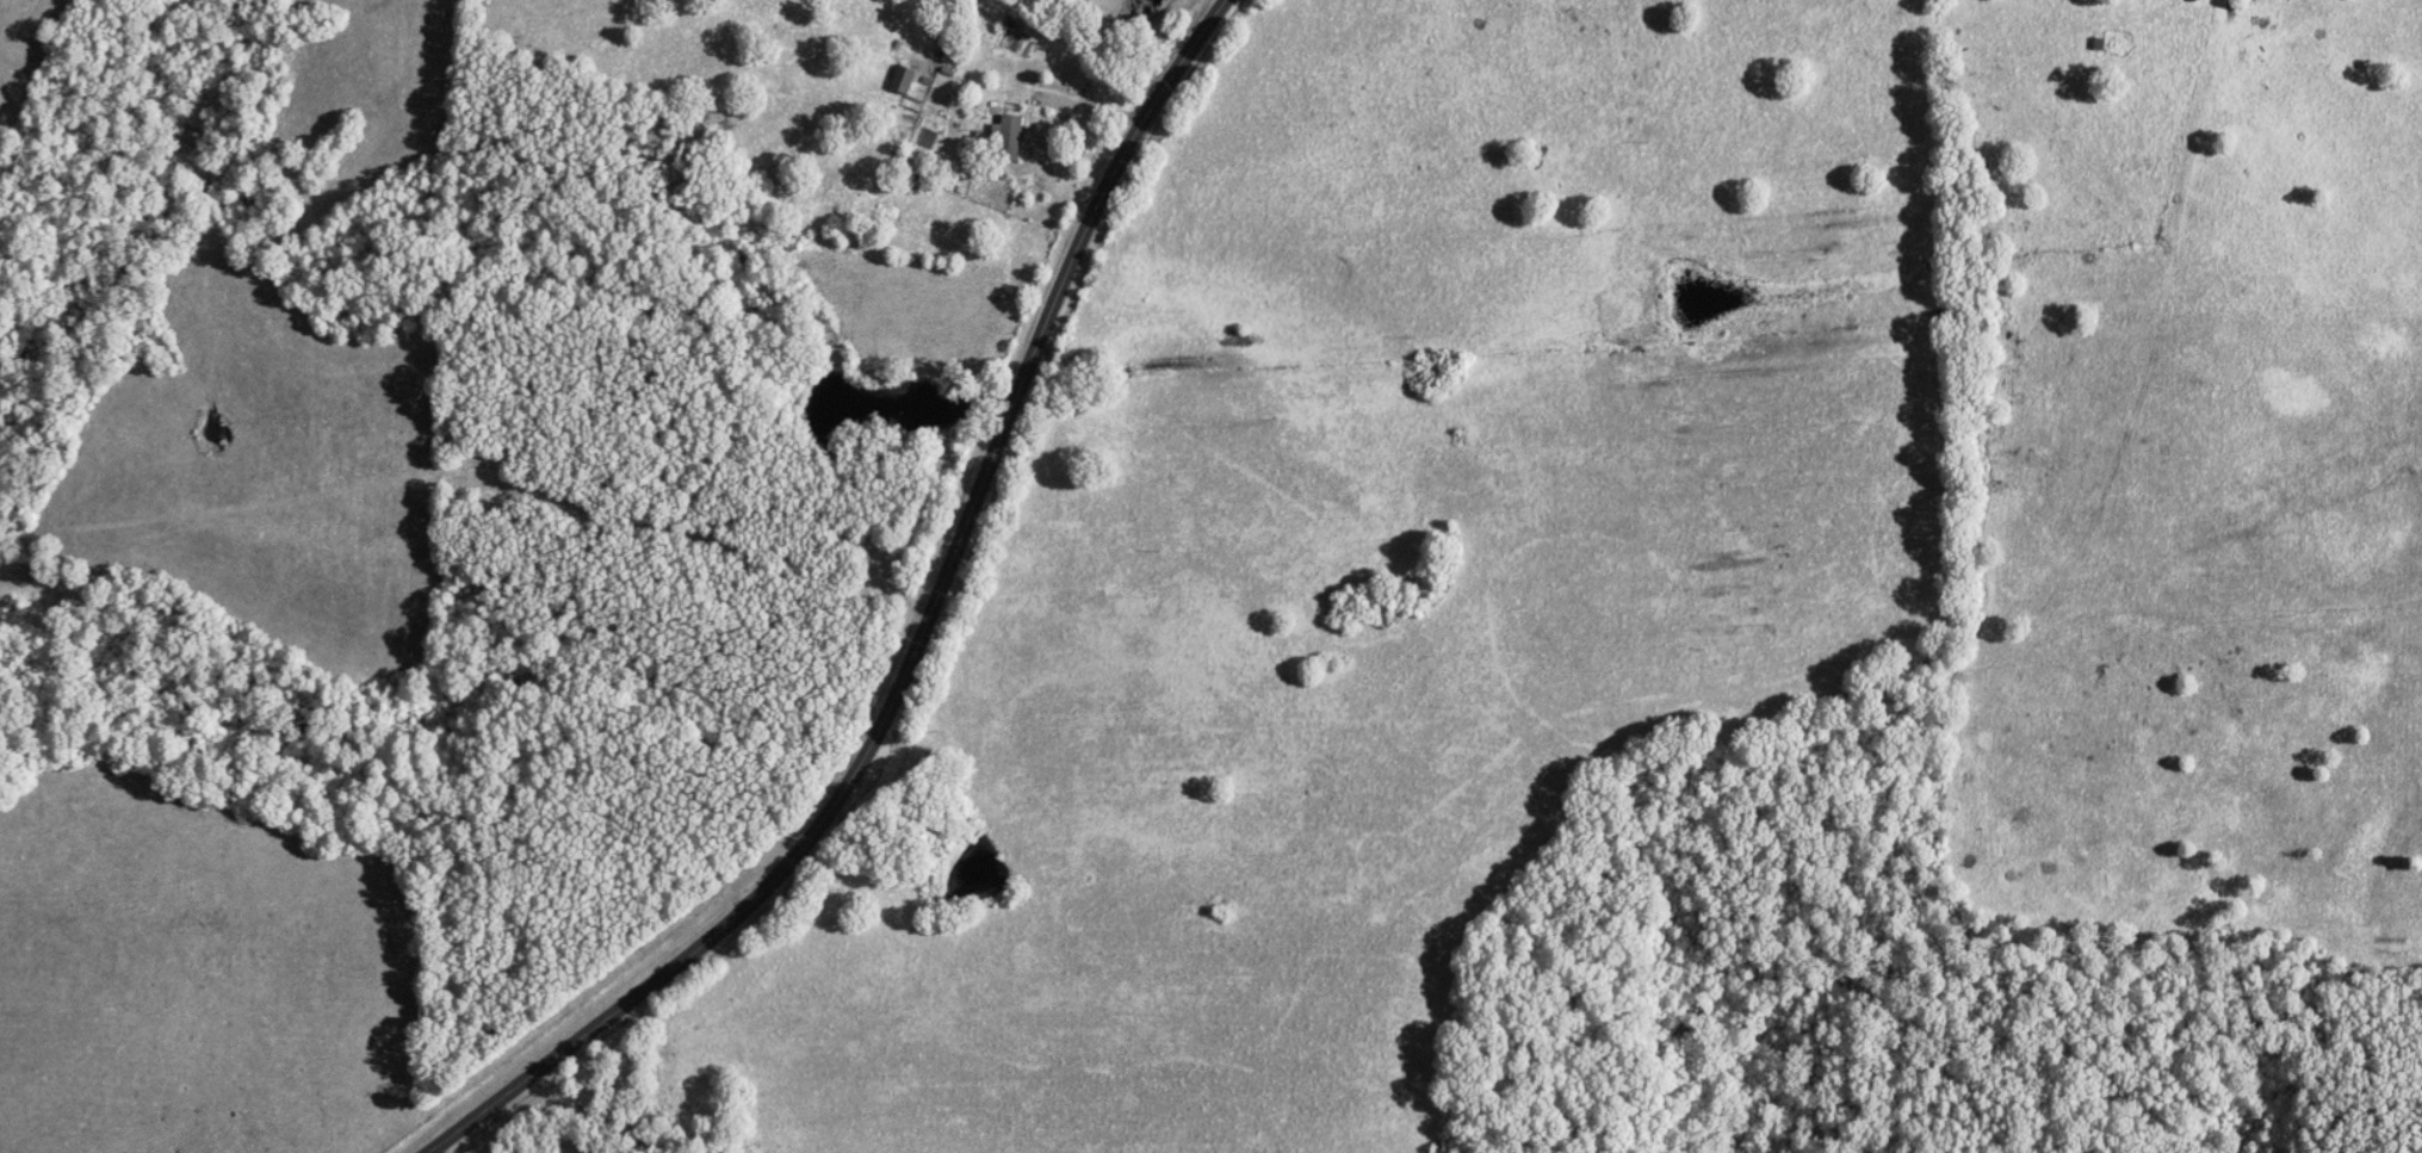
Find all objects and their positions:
building: (2193, 0)
building: (900, 80)
building: (1005, 137)
road: (916, 644)

